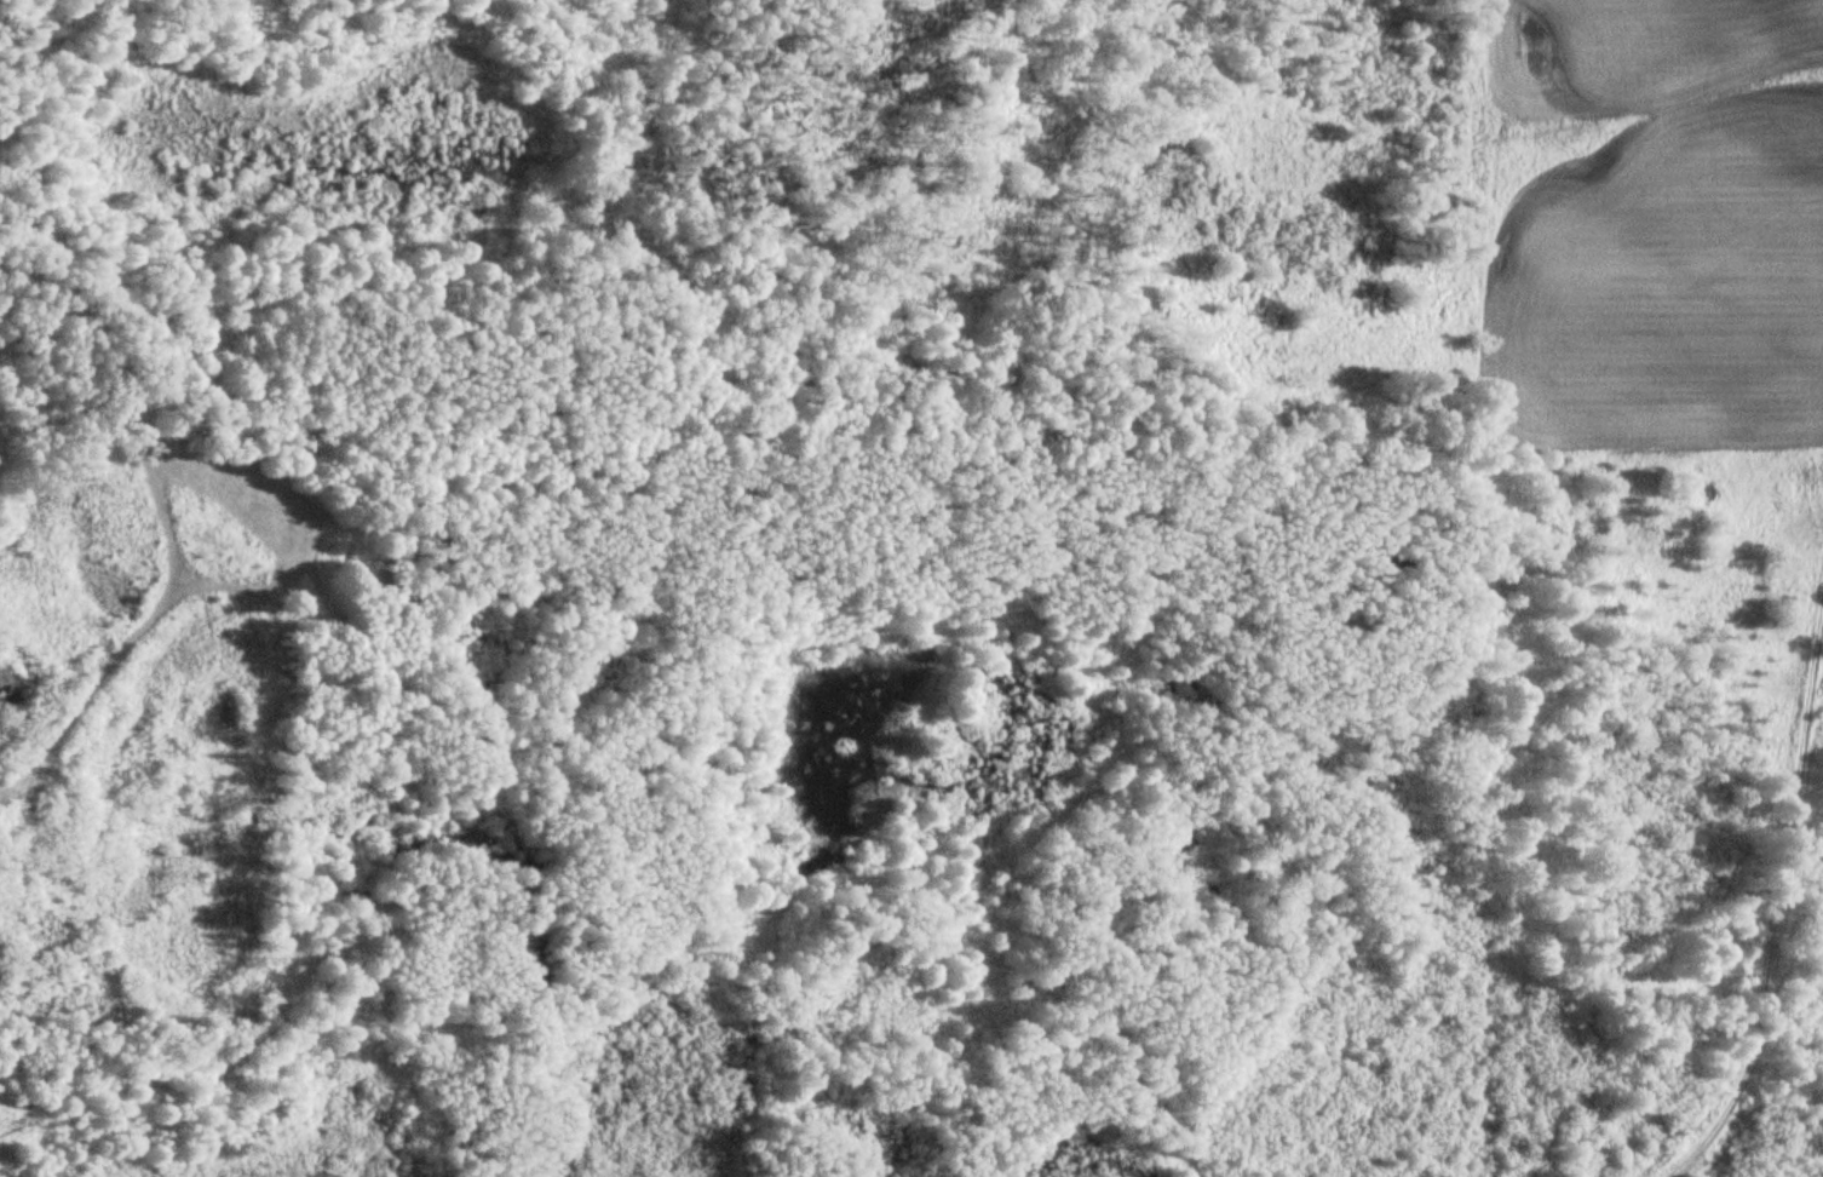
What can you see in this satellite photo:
road: (1773, 920)

